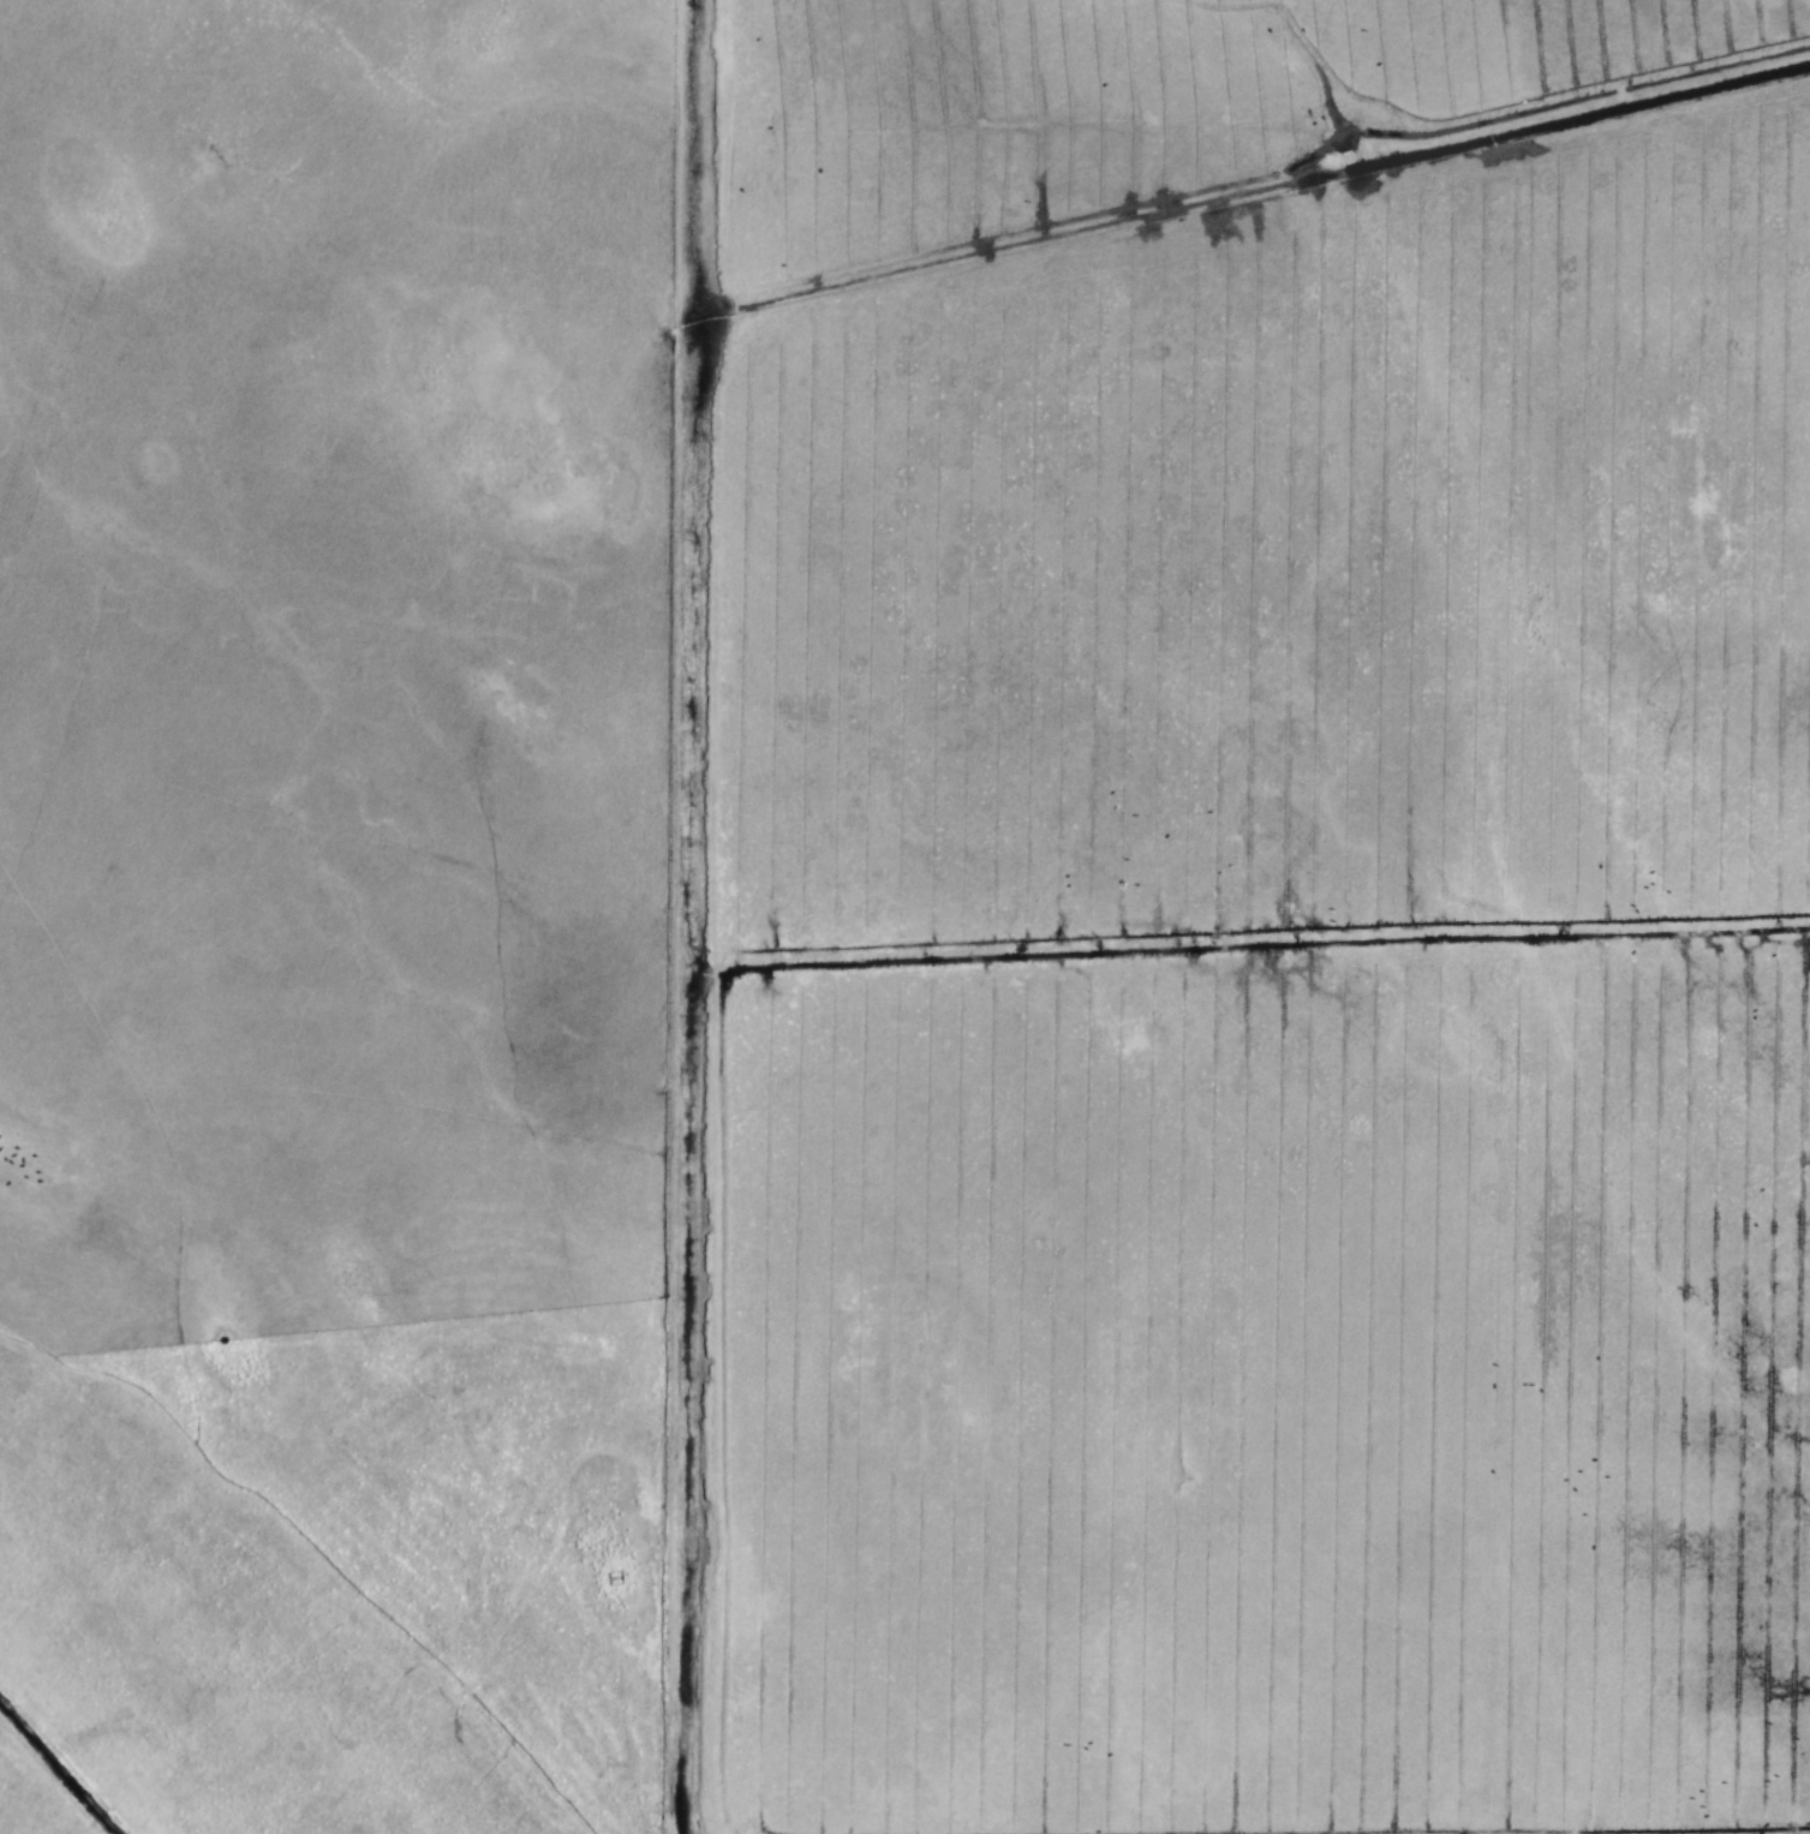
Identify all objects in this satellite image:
crop: (1217, 902)
crop: (317, 943)

